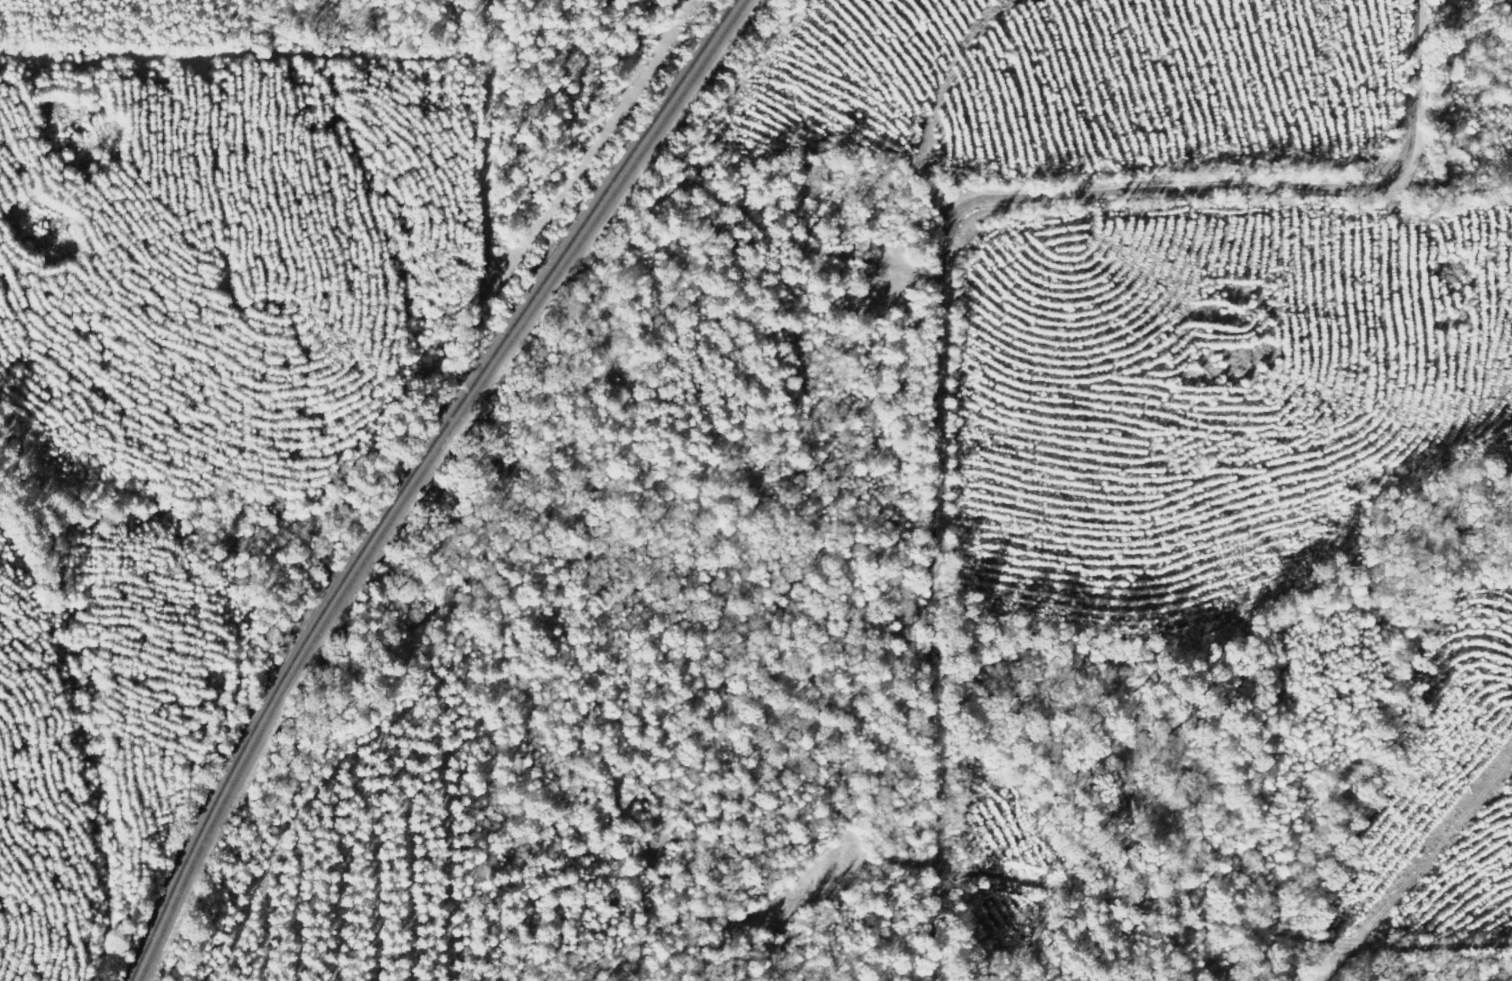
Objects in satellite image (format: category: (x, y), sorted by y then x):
road: (886, 295)
railway: (427, 476)
railway: (416, 477)

